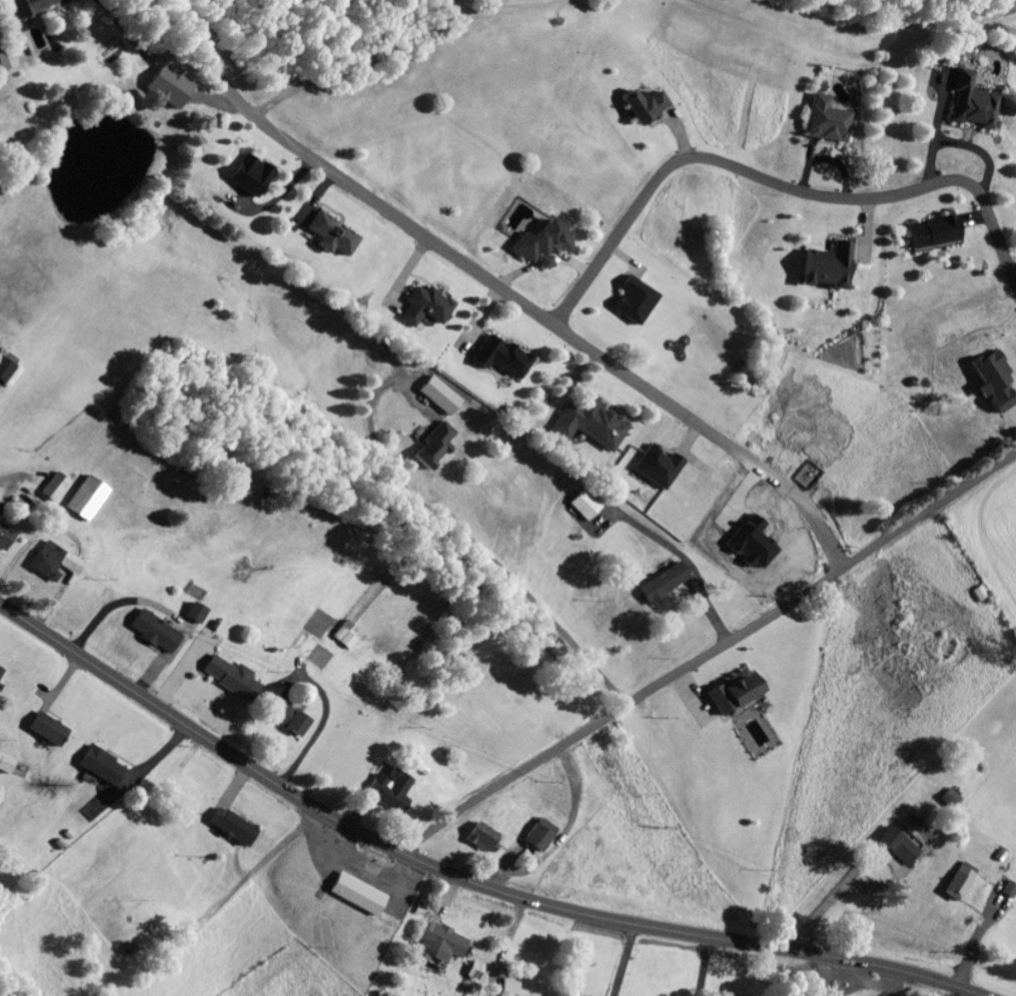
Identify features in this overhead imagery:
building: (32, 6)
building: (1, 65)
building: (169, 70)
building: (969, 104)
building: (641, 106)
building: (825, 121)
building: (248, 177)
road: (774, 181)
building: (931, 233)
building: (329, 236)
building: (540, 242)
building: (827, 271)
road: (502, 291)
building: (424, 307)
building: (503, 361)
building: (461, 417)
building: (588, 425)
building: (430, 446)
building: (53, 489)
building: (85, 500)
building: (586, 503)
building: (4, 539)
building: (51, 563)
building: (661, 584)
building: (192, 615)
building: (151, 634)
road: (710, 656)
building: (0, 670)
building: (228, 679)
building: (729, 693)
building: (284, 720)
building: (44, 731)
building: (5, 766)
building: (98, 767)
building: (388, 792)
building: (949, 801)
building: (229, 828)
building: (535, 836)
building: (479, 840)
building: (897, 848)
road: (458, 876)
building: (958, 883)
building: (354, 896)
building: (440, 941)
building: (505, 988)
building: (574, 995)

